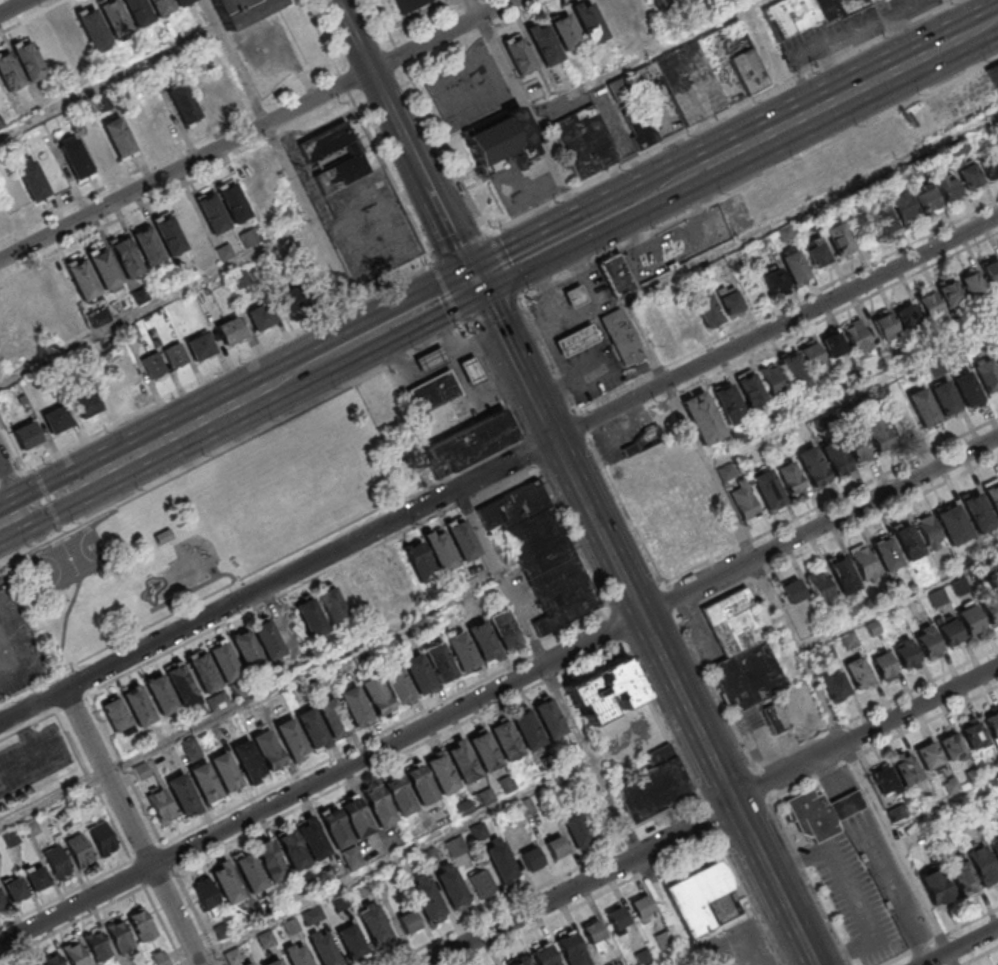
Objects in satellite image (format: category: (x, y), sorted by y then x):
building: (187, 4)
building: (660, 4)
building: (413, 6)
road: (13, 7)
building: (163, 9)
building: (637, 9)
building: (246, 10)
road: (431, 11)
building: (805, 14)
road: (976, 14)
building: (141, 15)
building: (613, 15)
building: (589, 22)
road: (995, 22)
building: (119, 24)
building: (565, 32)
building: (97, 35)
road: (355, 35)
road: (477, 36)
road: (323, 37)
building: (543, 43)
building: (518, 54)
road: (643, 57)
building: (29, 58)
building: (9, 70)
building: (748, 71)
building: (994, 76)
road: (109, 82)
building: (683, 82)
road: (345, 84)
building: (226, 85)
building: (618, 91)
building: (205, 94)
road: (828, 105)
building: (186, 110)
building: (160, 113)
road: (527, 113)
road: (431, 117)
road: (722, 119)
building: (139, 124)
building: (638, 126)
road: (255, 129)
building: (119, 134)
building: (501, 141)
building: (586, 141)
building: (874, 145)
building: (96, 147)
road: (170, 155)
building: (76, 156)
building: (354, 157)
building: (990, 166)
road: (288, 167)
road: (389, 173)
road: (425, 175)
building: (969, 176)
building: (33, 178)
road: (759, 178)
building: (948, 186)
building: (255, 191)
building: (926, 197)
building: (233, 201)
road: (812, 205)
building: (904, 207)
road: (617, 210)
building: (212, 211)
building: (879, 218)
building: (190, 225)
building: (170, 233)
building: (249, 238)
building: (839, 240)
road: (459, 242)
building: (149, 244)
building: (816, 252)
building: (127, 255)
road: (524, 256)
road: (504, 265)
building: (105, 266)
building: (794, 267)
road: (395, 271)
building: (991, 272)
building: (618, 276)
building: (84, 277)
building: (774, 279)
traffic signals: (478, 281)
road: (399, 282)
building: (972, 284)
building: (320, 286)
road: (445, 288)
road: (354, 291)
building: (61, 292)
building: (949, 292)
building: (576, 296)
building: (729, 298)
road: (442, 299)
road: (519, 300)
building: (41, 302)
road: (158, 302)
building: (291, 302)
road: (358, 302)
building: (929, 306)
building: (706, 309)
road: (492, 313)
building: (19, 314)
building: (260, 316)
building: (907, 316)
road: (790, 320)
building: (885, 325)
building: (686, 327)
building: (659, 329)
building: (230, 330)
building: (5, 331)
road: (370, 335)
building: (857, 336)
building: (623, 337)
building: (577, 340)
building: (833, 344)
building: (199, 346)
building: (812, 354)
building: (996, 354)
building: (175, 355)
building: (431, 359)
road: (315, 363)
building: (152, 365)
building: (472, 370)
building: (794, 371)
building: (987, 376)
road: (488, 379)
building: (772, 379)
building: (109, 386)
road: (186, 388)
building: (750, 388)
building: (968, 390)
building: (434, 392)
road: (853, 396)
building: (945, 398)
building: (729, 403)
building: (86, 404)
building: (923, 408)
building: (702, 417)
building: (56, 419)
road: (183, 431)
building: (26, 434)
building: (878, 435)
road: (555, 439)
building: (642, 439)
road: (233, 441)
building: (468, 442)
road: (12, 446)
building: (857, 447)
road: (525, 451)
building: (407, 457)
building: (836, 459)
road: (35, 467)
building: (812, 467)
road: (466, 468)
road: (9, 477)
building: (790, 478)
road: (41, 482)
road: (12, 486)
building: (768, 489)
building: (992, 494)
road: (47, 498)
road: (46, 499)
building: (745, 502)
building: (515, 505)
building: (978, 513)
road: (55, 514)
road: (12, 517)
building: (953, 524)
road: (61, 528)
park: (207, 530)
building: (930, 532)
building: (682, 533)
building: (164, 537)
building: (461, 538)
building: (907, 541)
building: (539, 542)
road: (571, 542)
building: (440, 549)
building: (886, 553)
park: (72, 561)
building: (418, 561)
building: (864, 564)
building: (843, 575)
road: (310, 578)
road: (203, 585)
building: (819, 585)
road: (263, 587)
building: (793, 590)
building: (562, 594)
building: (333, 606)
building: (990, 610)
building: (311, 617)
building: (970, 619)
road: (647, 623)
road: (572, 624)
building: (505, 628)
road: (685, 630)
road: (616, 631)
road: (65, 632)
road: (789, 632)
building: (949, 633)
building: (268, 638)
building: (484, 639)
building: (927, 642)
road: (536, 648)
building: (247, 649)
building: (462, 650)
building: (741, 653)
building: (905, 653)
building: (225, 661)
building: (441, 661)
building: (884, 667)
building: (204, 671)
building: (419, 672)
building: (858, 673)
road: (548, 674)
building: (182, 682)
building: (397, 684)
road: (497, 688)
building: (604, 690)
building: (161, 693)
building: (376, 694)
road: (248, 699)
building: (138, 704)
building: (355, 705)
building: (117, 715)
building: (333, 716)
building: (550, 717)
building: (775, 717)
road: (29, 725)
road: (663, 725)
building: (992, 725)
building: (312, 727)
building: (528, 729)
building: (973, 735)
building: (291, 737)
building: (506, 739)
building: (951, 747)
building: (191, 748)
building: (269, 748)
road: (347, 750)
building: (485, 750)
building: (660, 755)
building: (928, 756)
building: (248, 759)
parking lot: (33, 760)
building: (461, 760)
road: (126, 768)
building: (225, 770)
building: (142, 771)
building: (906, 771)
building: (442, 773)
building: (205, 781)
building: (884, 781)
building: (421, 783)
road: (94, 785)
building: (654, 789)
building: (181, 792)
building: (398, 795)
building: (847, 804)
building: (161, 805)
building: (379, 805)
building: (526, 807)
road: (944, 808)
building: (57, 815)
building: (813, 815)
building: (357, 817)
road: (714, 818)
road: (711, 820)
building: (334, 826)
building: (31, 827)
road: (132, 827)
building: (578, 828)
building: (101, 836)
building: (11, 838)
building: (313, 839)
building: (995, 845)
building: (556, 847)
building: (79, 850)
building: (292, 850)
building: (352, 858)
road: (390, 859)
building: (531, 859)
building: (56, 860)
building: (270, 861)
building: (500, 861)
building: (982, 865)
building: (250, 871)
building: (960, 875)
building: (35, 876)
building: (480, 882)
building: (227, 883)
building: (451, 886)
building: (935, 886)
building: (15, 888)
road: (65, 893)
building: (207, 896)
building: (425, 898)
road: (594, 898)
building: (704, 898)
road: (751, 899)
building: (2, 900)
parking lot: (858, 900)
building: (642, 908)
road: (668, 911)
building: (312, 915)
building: (618, 920)
building: (408, 921)
road: (72, 922)
building: (141, 924)
building: (374, 924)
road: (970, 924)
road: (163, 925)
building: (594, 934)
building: (121, 938)
building: (351, 941)
building: (664, 941)
building: (97, 943)
parking lot: (737, 946)
road: (963, 947)
building: (324, 949)
building: (571, 949)
building: (296, 954)
building: (75, 955)
building: (543, 955)
road: (982, 957)
building: (50, 958)
building: (160, 958)
building: (645, 958)
road: (678, 959)
building: (30, 962)
building: (273, 962)
building: (521, 962)
building: (250, 964)

